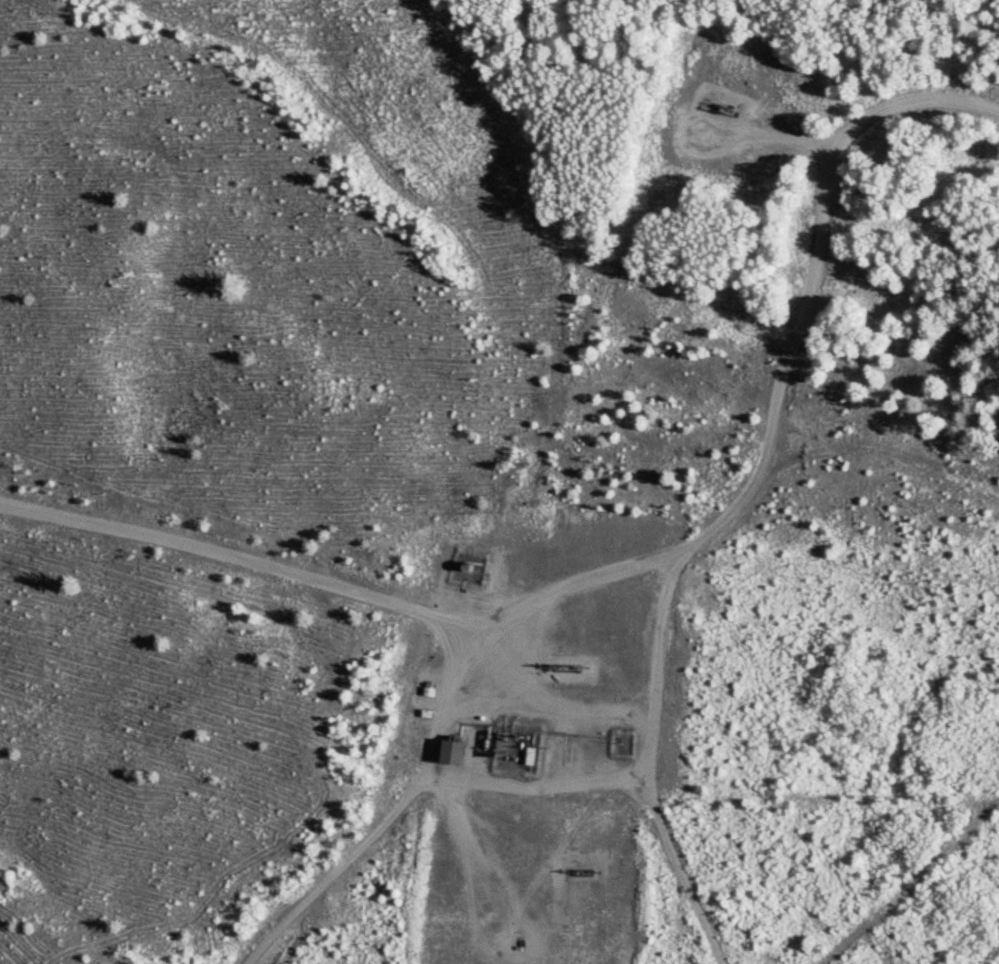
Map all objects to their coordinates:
petroleum well: (719, 110)
road: (781, 378)
road: (236, 548)
petroleum well: (555, 665)
building: (449, 751)
road: (652, 763)
road: (393, 808)

